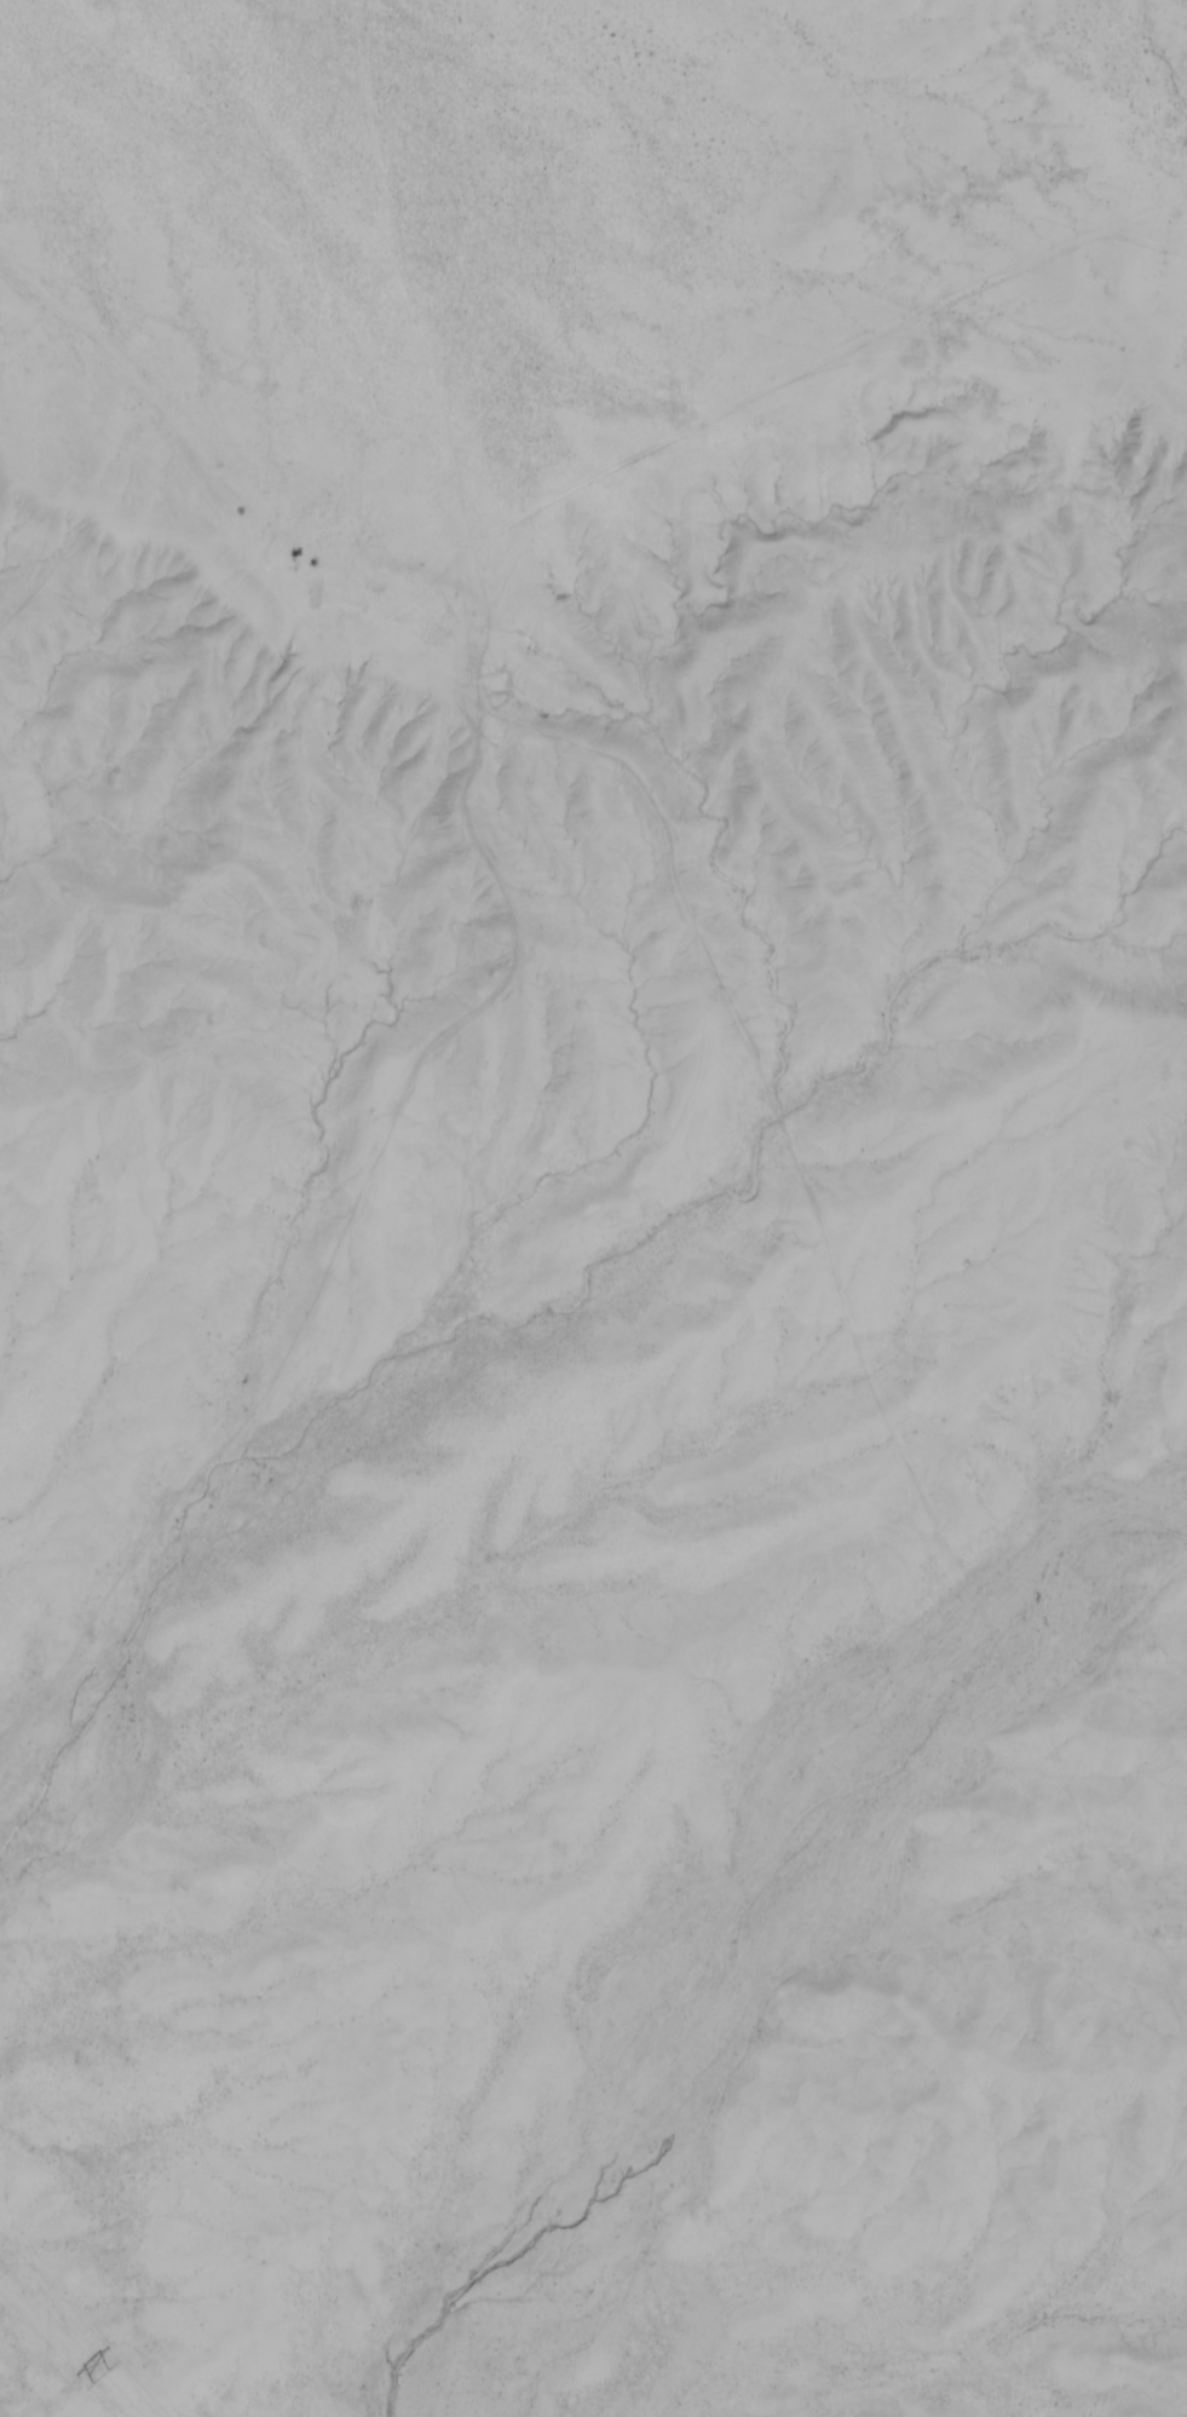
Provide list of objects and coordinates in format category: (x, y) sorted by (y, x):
road: (136, 381)
power tower: (120, 2376)

